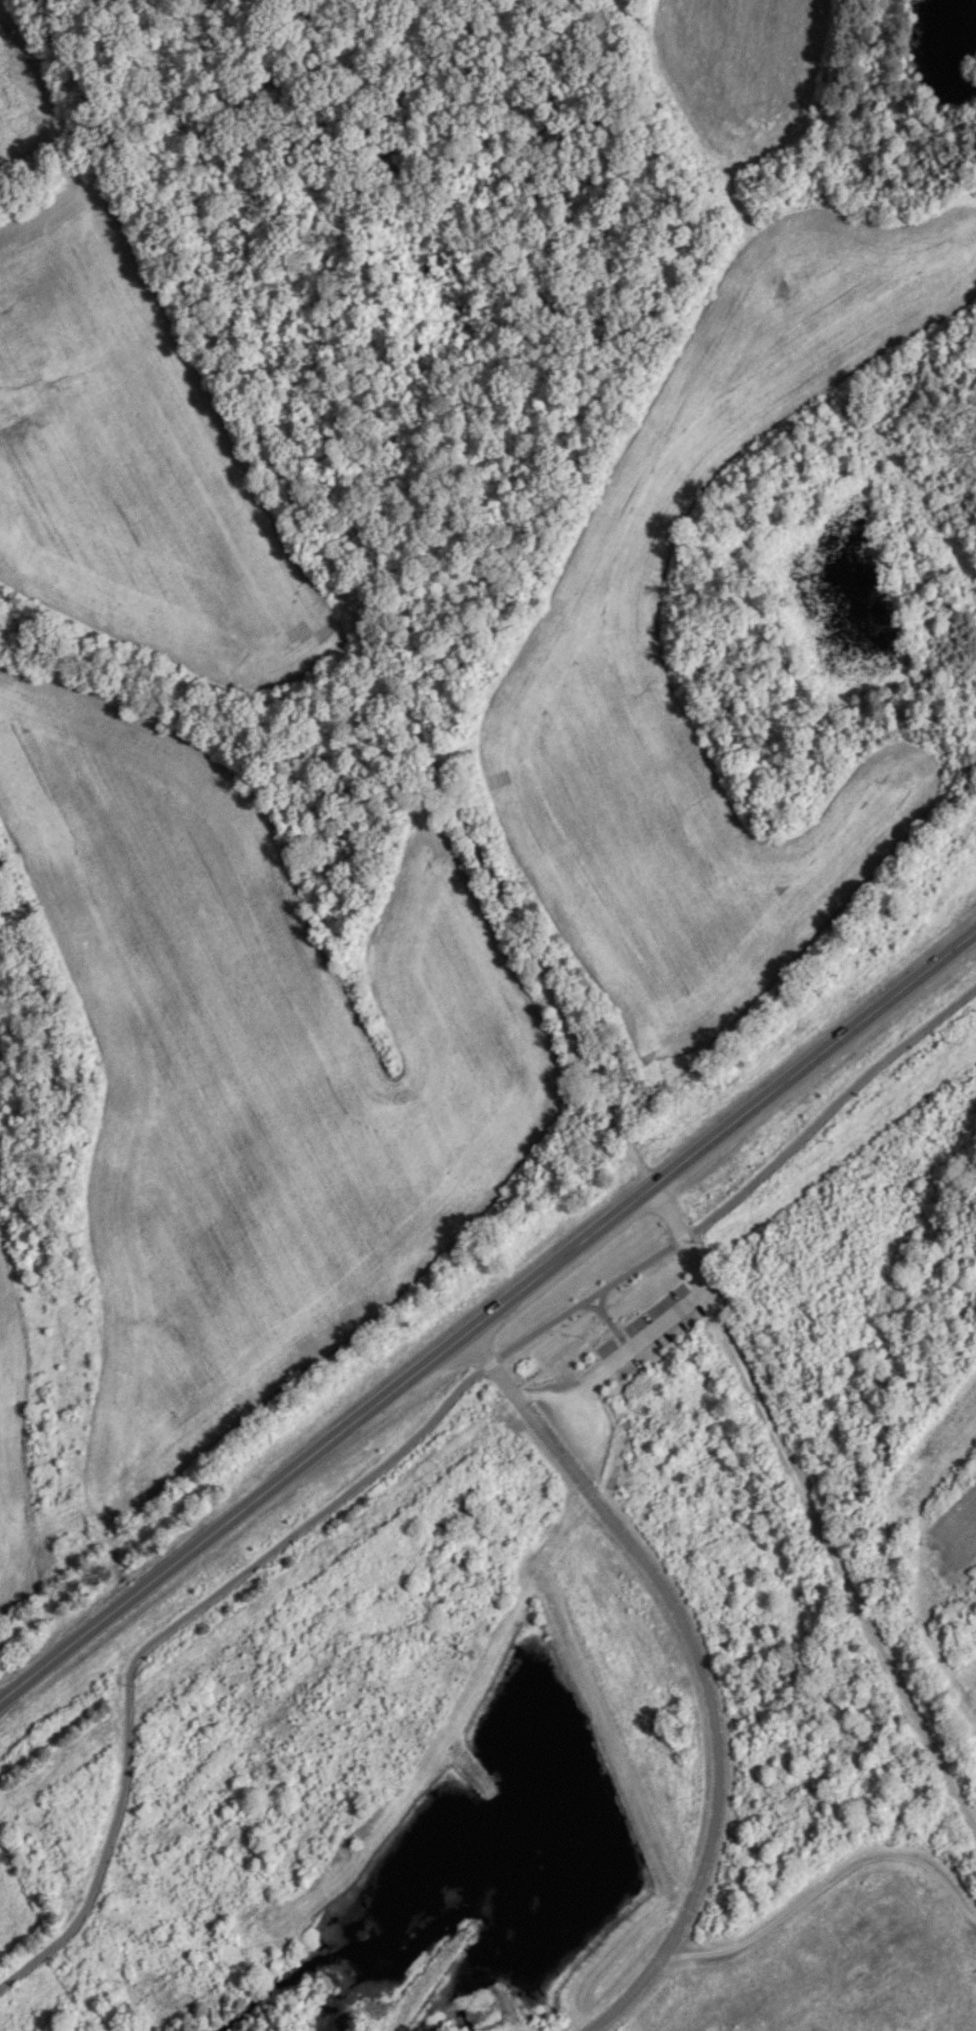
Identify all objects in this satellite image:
road: (333, 571)
road: (673, 1220)
road: (488, 1313)
parking lot: (634, 1330)
road: (623, 1363)
parking lot: (572, 1404)
road: (406, 1439)
road: (842, 1570)
road: (701, 1663)
road: (829, 1885)

